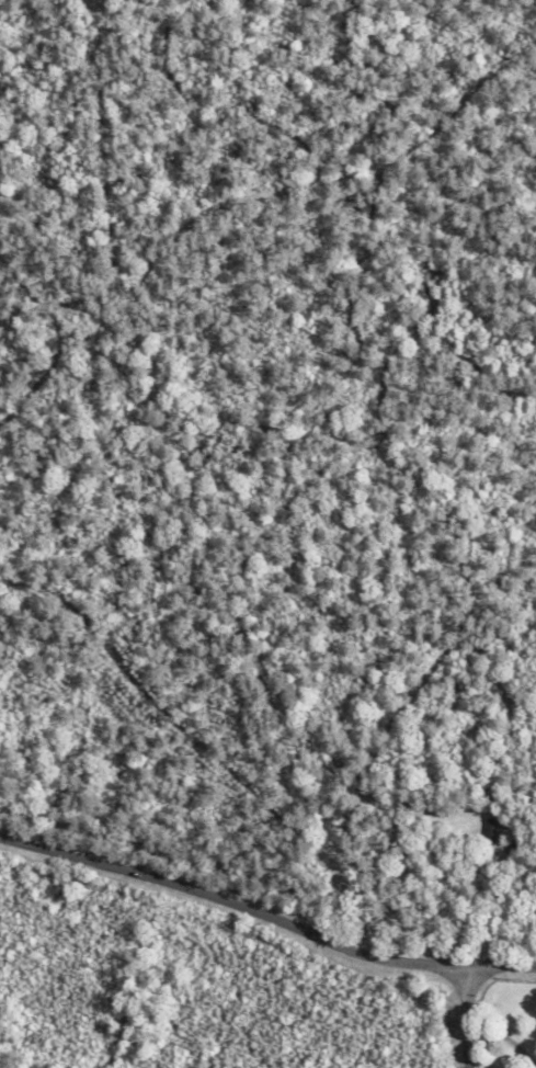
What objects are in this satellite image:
road: (201, 489)
road: (265, 919)
road: (463, 1018)

